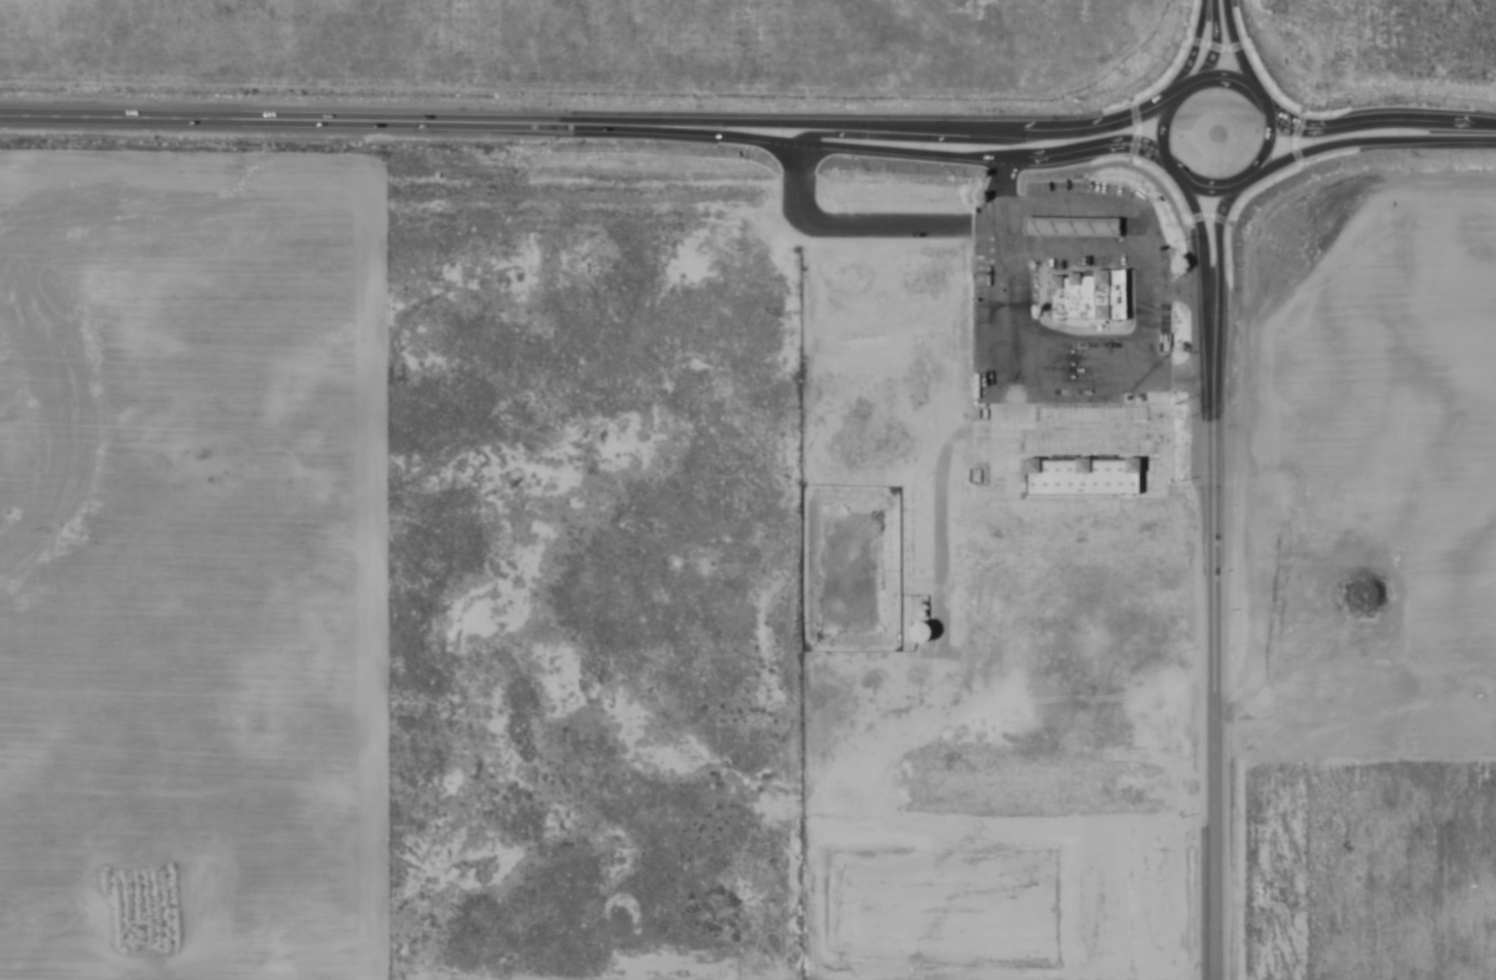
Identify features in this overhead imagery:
road: (1225, 38)
road: (1167, 119)
road: (582, 126)
road: (1386, 126)
road: (1005, 193)
road: (1087, 205)
building: (1072, 227)
gas station: (1072, 227)
road: (1012, 270)
road: (1179, 287)
building: (1077, 296)
road: (1211, 583)

